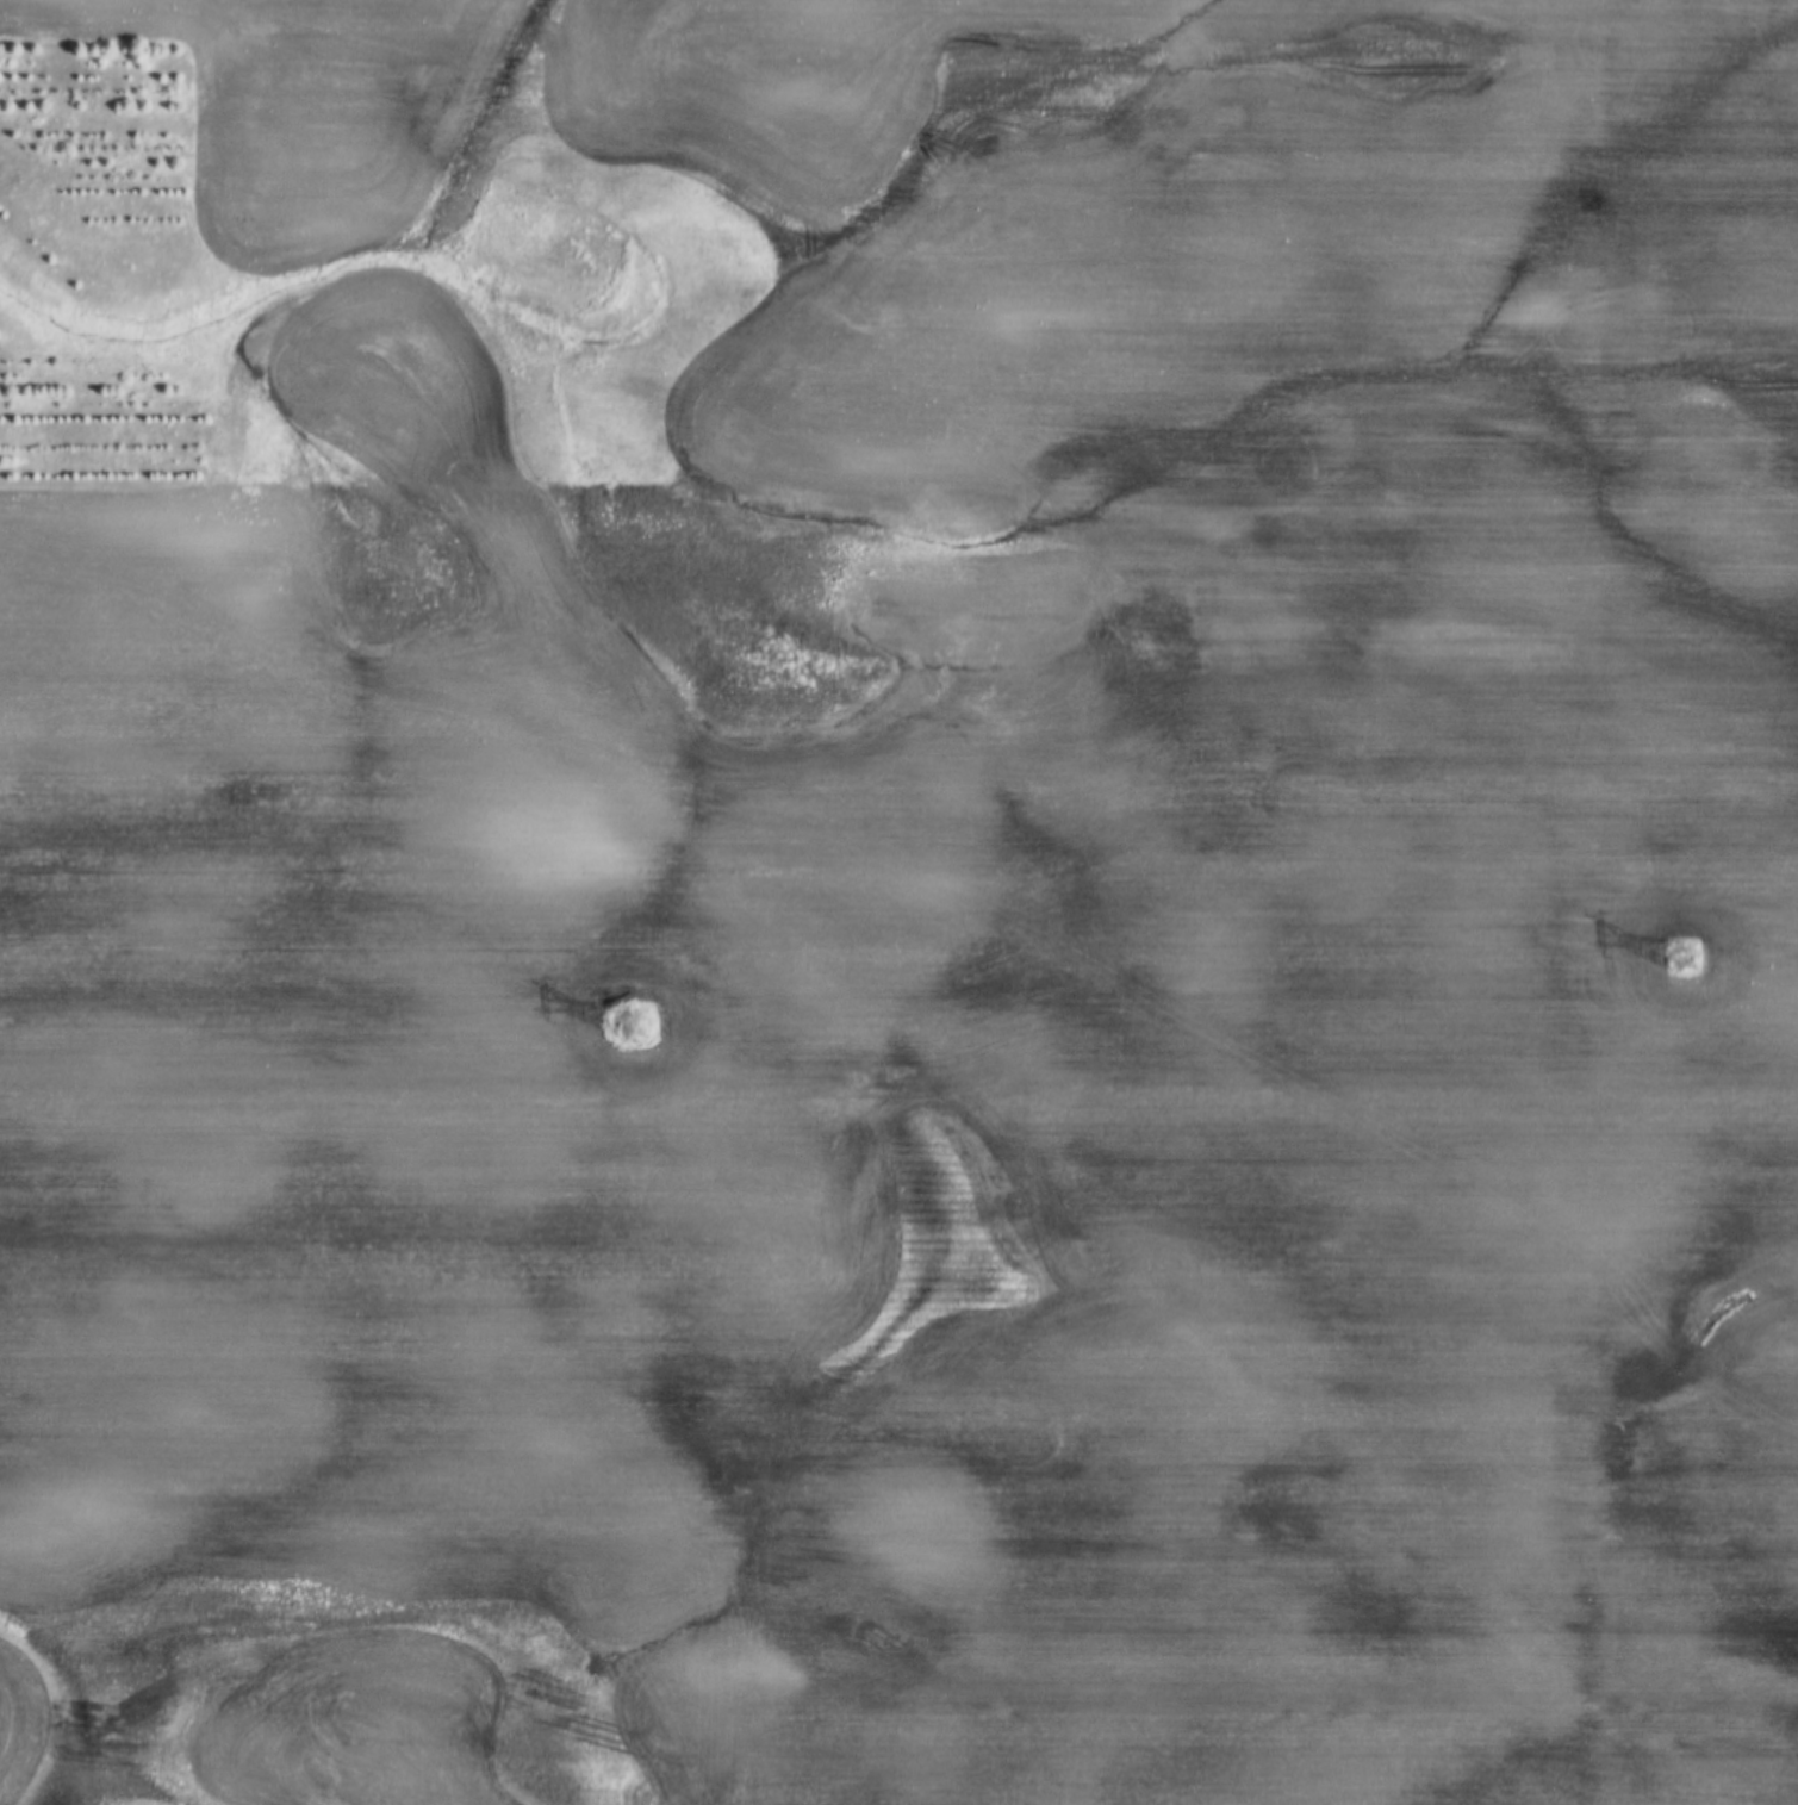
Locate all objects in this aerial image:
power tower: (1681, 956)
power tower: (636, 1022)

